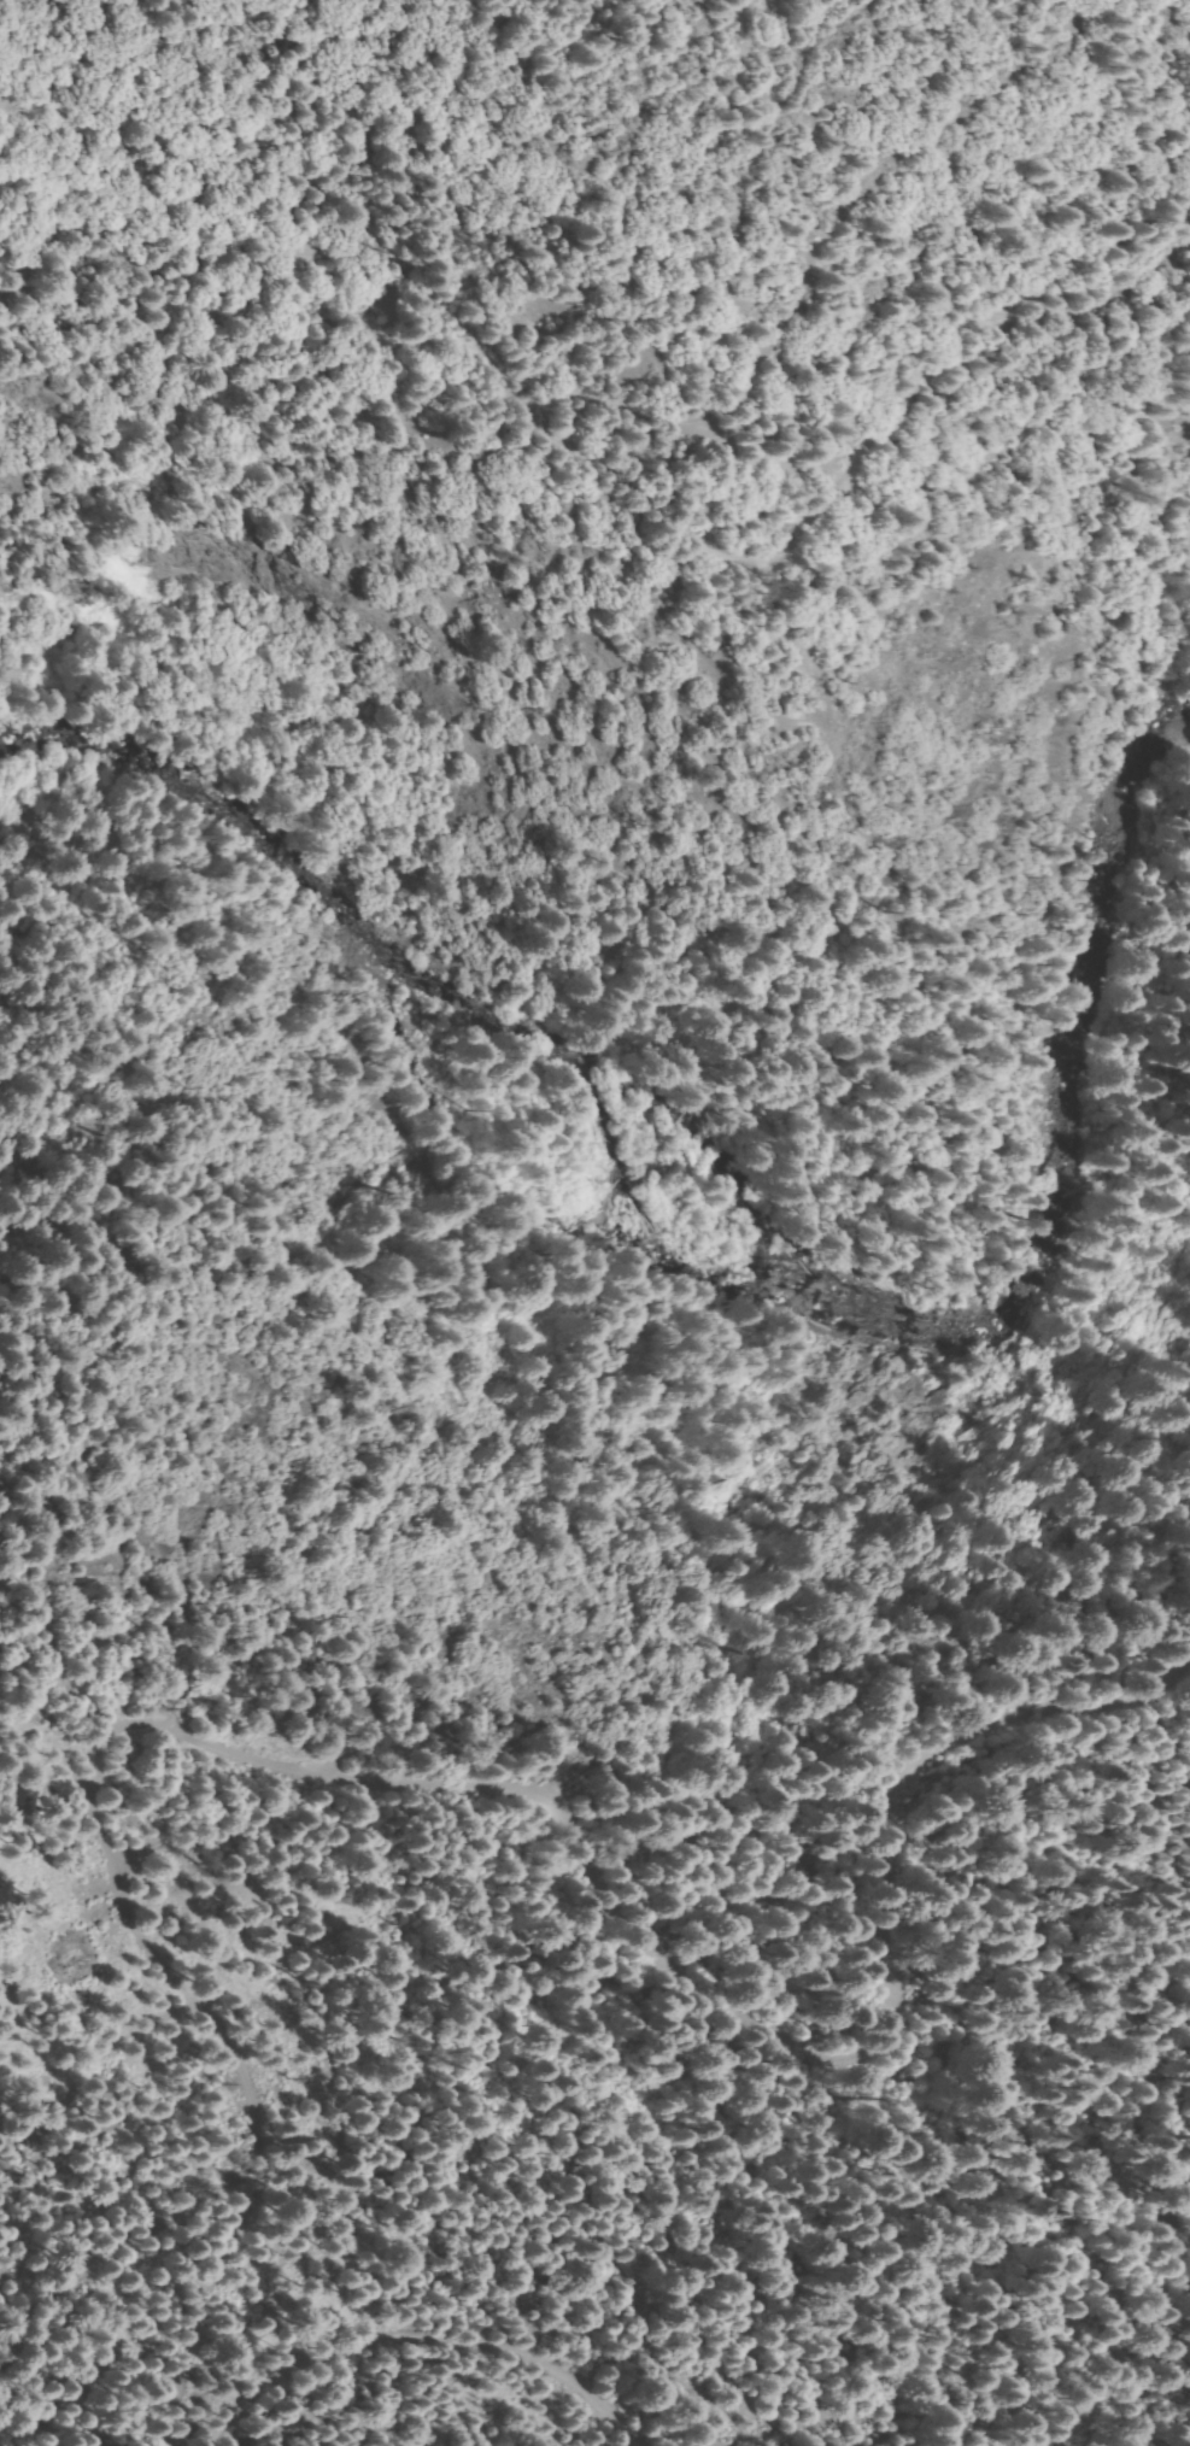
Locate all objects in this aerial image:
river: (1122, 790)
river: (626, 1242)
road: (434, 2347)

